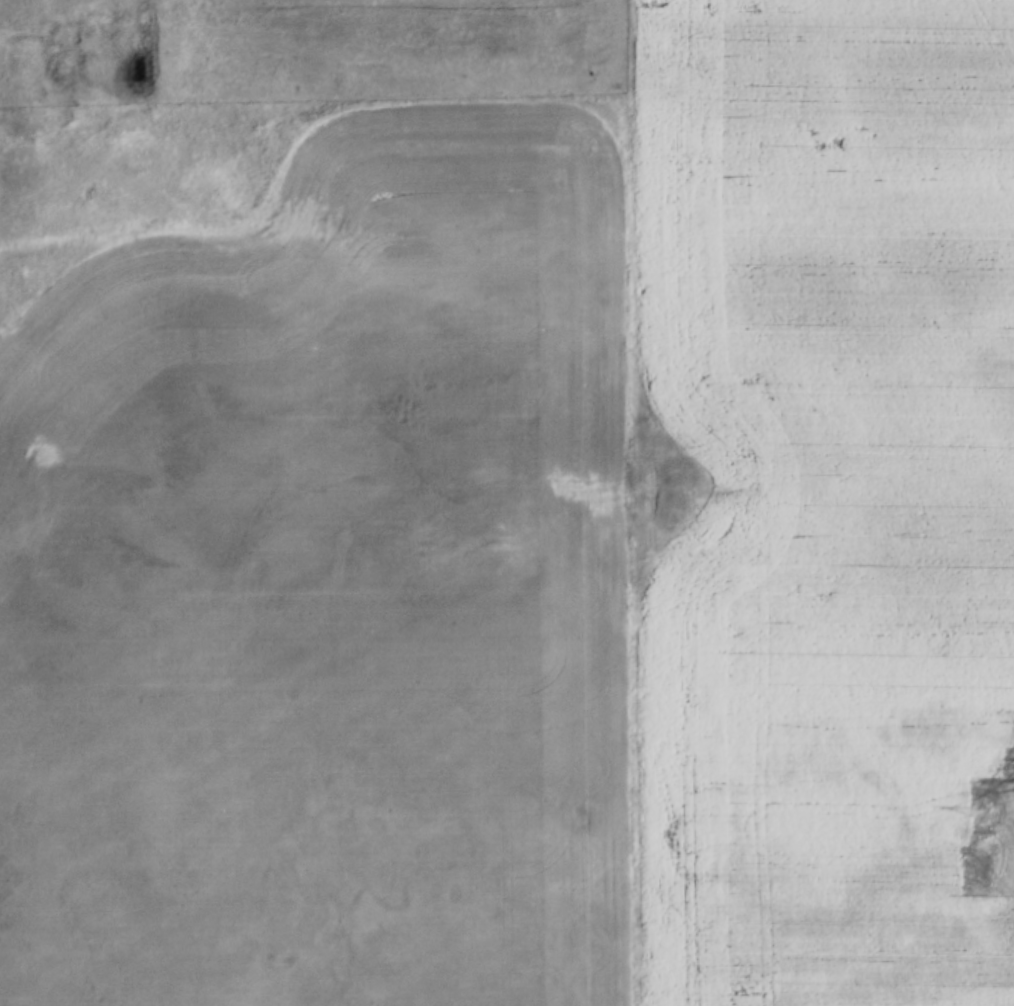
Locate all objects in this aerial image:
road: (638, 502)

